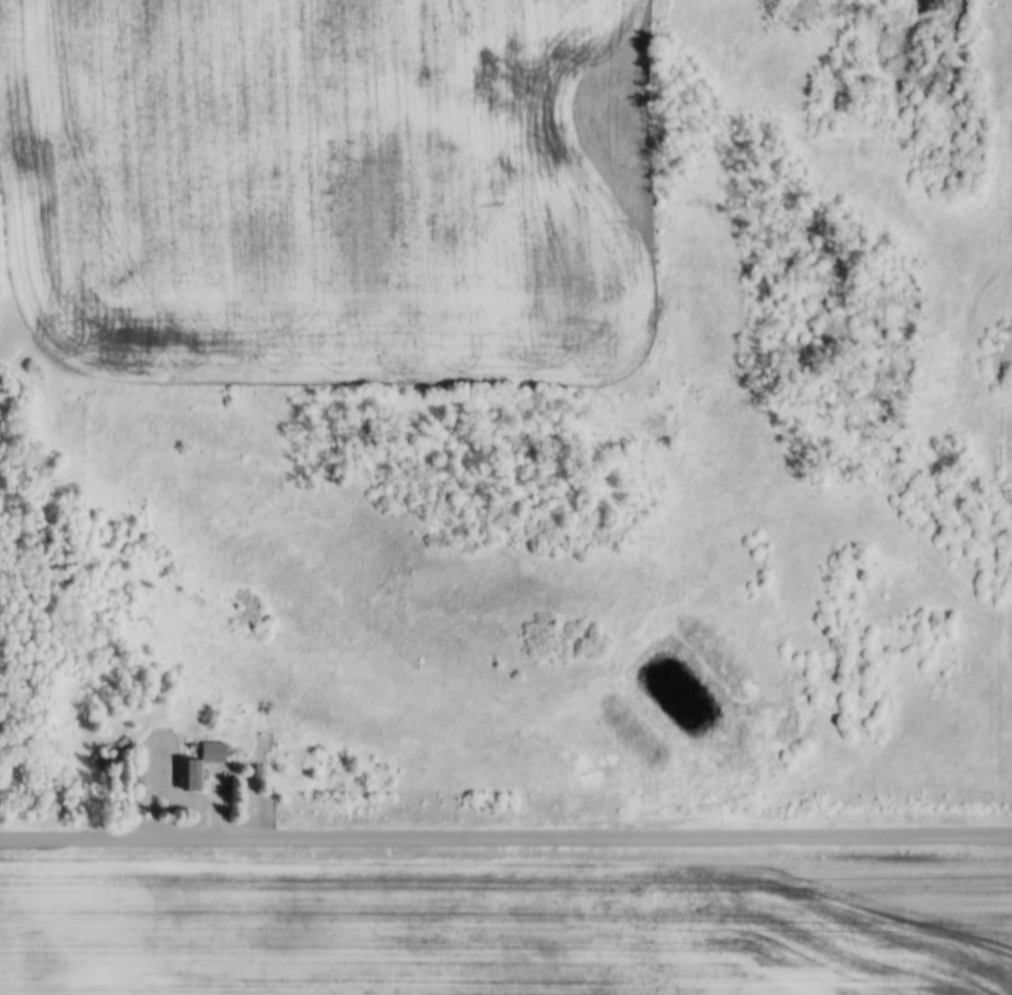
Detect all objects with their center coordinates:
building: (211, 749)
building: (107, 750)
building: (190, 775)
road: (505, 836)

